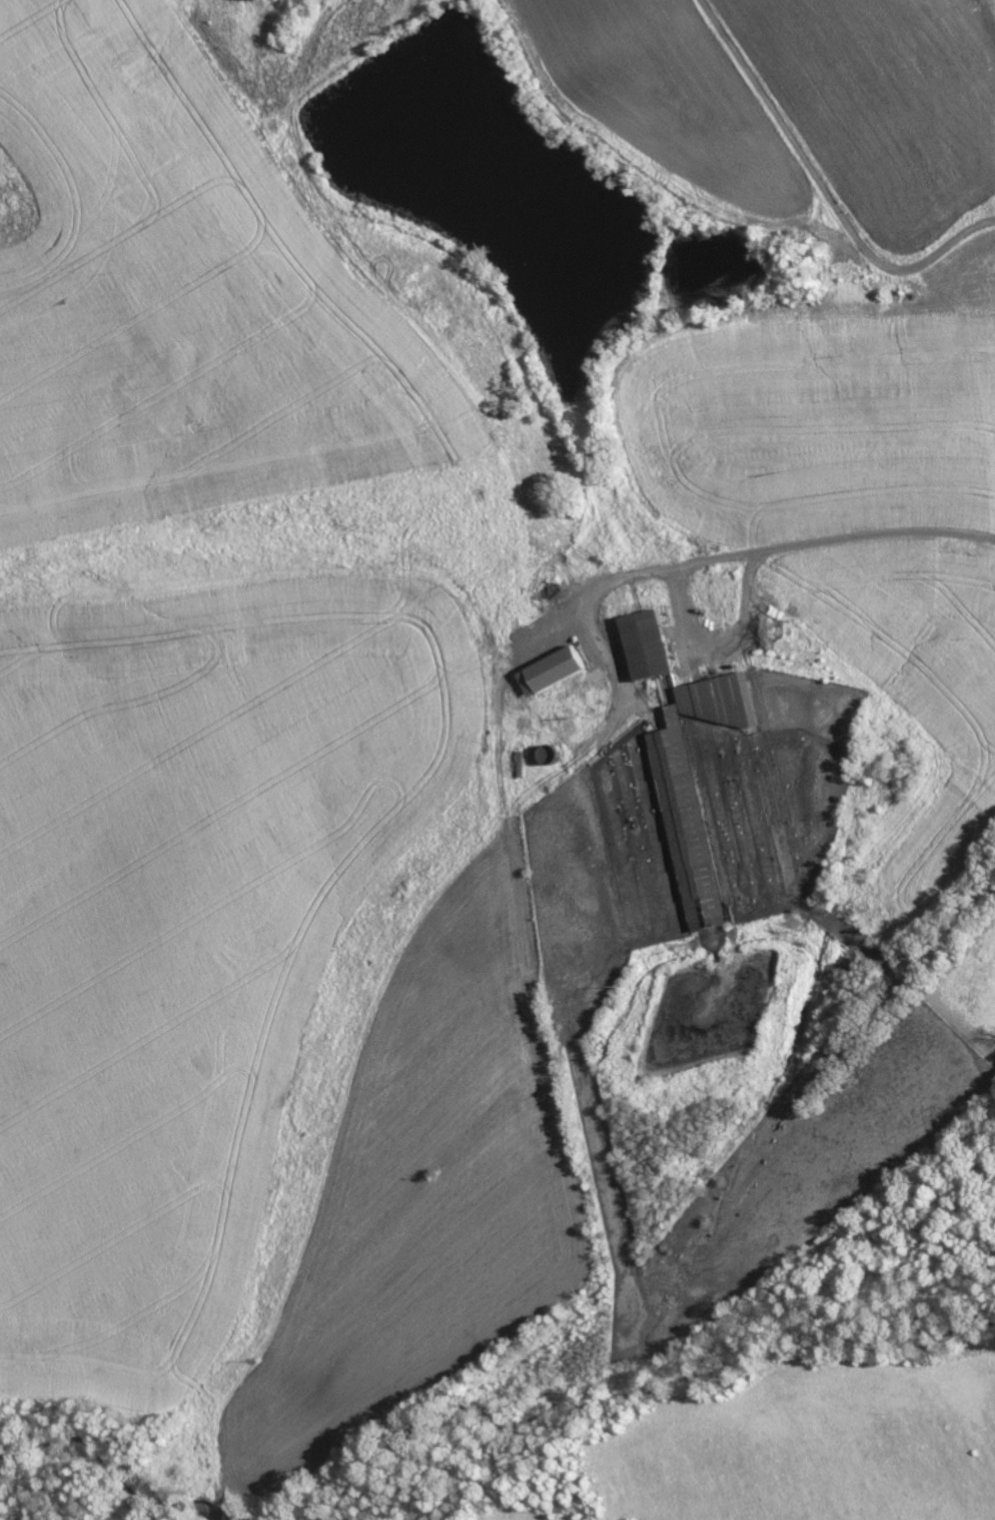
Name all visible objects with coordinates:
road: (822, 189)
road: (873, 537)
road: (698, 632)
building: (643, 644)
building: (549, 671)
building: (694, 790)

